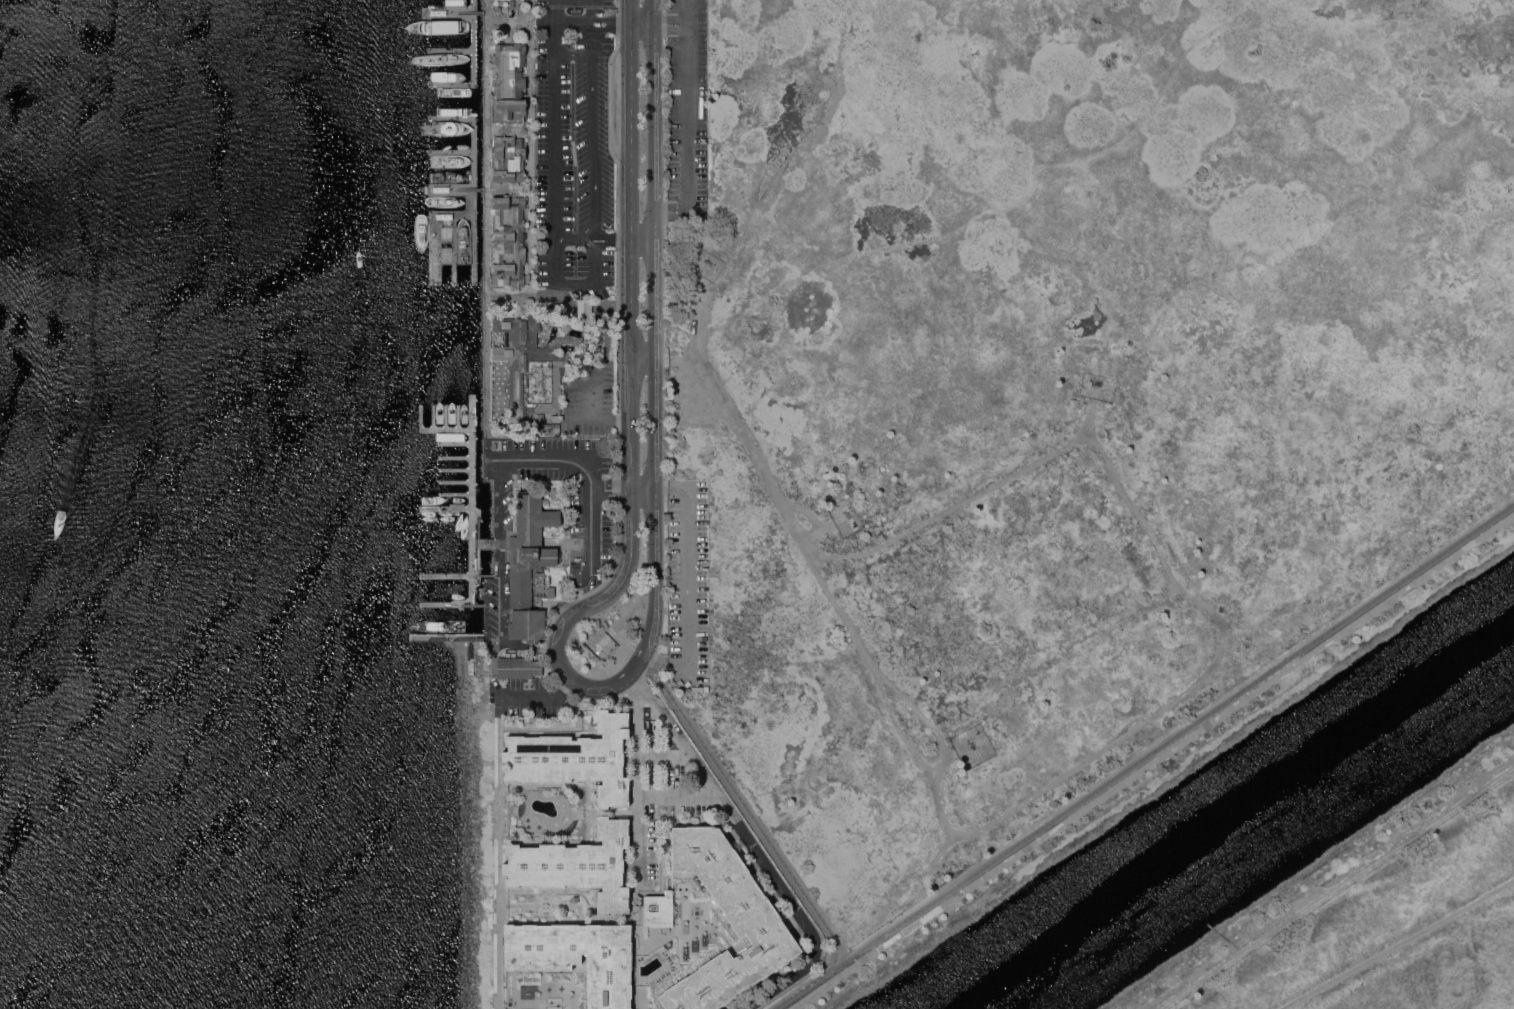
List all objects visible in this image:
pier: (474, 2)
road: (531, 4)
pier: (451, 11)
road: (591, 11)
road: (631, 11)
road: (653, 11)
road: (686, 11)
road: (470, 12)
road: (535, 18)
road: (572, 21)
road: (611, 22)
road: (642, 22)
road: (669, 23)
road: (492, 33)
building: (497, 33)
road: (591, 38)
road: (507, 42)
pier: (450, 50)
road: (573, 54)
pier: (473, 74)
building: (509, 82)
road: (631, 86)
parking lot: (687, 107)
road: (652, 116)
pier: (473, 127)
road: (686, 130)
road: (530, 133)
road: (555, 140)
road: (592, 147)
parking lot: (574, 148)
pier: (450, 152)
building: (507, 158)
road: (529, 160)
road: (491, 169)
road: (470, 189)
road: (631, 195)
road: (521, 196)
road: (618, 207)
road: (988, 211)
road: (486, 224)
road: (652, 224)
pier: (446, 229)
road: (577, 239)
building: (508, 240)
road: (614, 240)
road: (642, 240)
pier: (473, 251)
road: (597, 260)
road: (631, 273)
road: (577, 281)
road: (598, 286)
road: (511, 293)
road: (558, 293)
road: (612, 307)
road: (565, 326)
building: (537, 361)
road: (598, 362)
parking lot: (587, 386)
road: (1091, 412)
pier: (456, 416)
pier: (432, 417)
pier: (444, 417)
road: (597, 418)
pier: (433, 430)
pier: (453, 443)
road: (653, 448)
pier: (453, 457)
pier: (453, 469)
road: (500, 469)
pier: (453, 481)
road: (621, 489)
pier: (453, 493)
road: (632, 495)
pier: (470, 499)
pier: (444, 508)
parking lot: (589, 515)
road: (810, 515)
road: (476, 525)
road: (811, 535)
pier: (476, 541)
pier: (483, 543)
road: (565, 544)
road: (476, 560)
road: (559, 562)
building: (527, 565)
road: (485, 574)
pier: (444, 575)
building: (537, 579)
road: (686, 579)
parking lot: (689, 583)
building: (548, 592)
road: (587, 592)
pier: (459, 600)
pier: (443, 604)
road: (470, 604)
parking lot: (489, 605)
road: (559, 605)
road: (551, 610)
road: (495, 612)
road: (625, 617)
road: (616, 633)
pier: (446, 636)
building: (437, 637)
building: (467, 638)
building: (480, 638)
road: (474, 647)
building: (507, 654)
building: (512, 654)
road: (467, 659)
building: (470, 661)
road: (492, 664)
building: (516, 667)
road: (638, 680)
road: (596, 685)
parking lot: (522, 687)
road: (536, 694)
parking lot: (528, 706)
road: (923, 716)
road: (561, 728)
road: (1171, 741)
road: (1100, 750)
road: (665, 756)
building: (576, 758)
road: (547, 785)
road: (637, 786)
road: (678, 797)
parking lot: (660, 800)
road: (747, 811)
road: (614, 812)
road: (591, 814)
road: (541, 841)
road: (754, 848)
road: (501, 863)
building: (578, 864)
road: (1336, 888)
road: (576, 904)
building: (658, 910)
road: (640, 914)
building: (755, 919)
road: (1398, 945)
building: (577, 956)
road: (800, 990)

